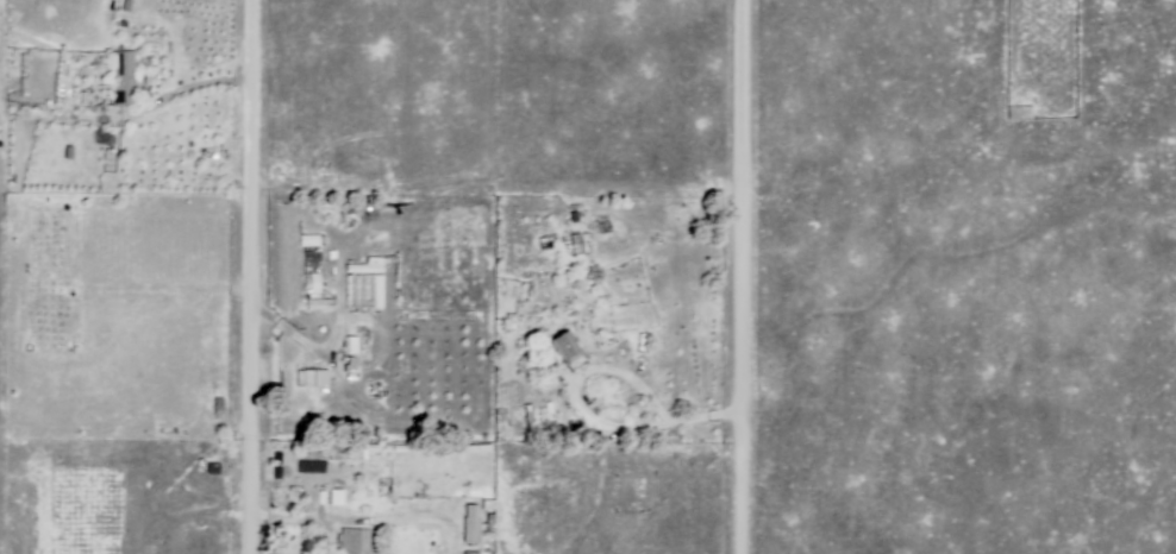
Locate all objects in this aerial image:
building: (23, 64)
building: (124, 82)
building: (23, 88)
road: (184, 90)
building: (311, 240)
crop: (439, 254)
building: (313, 257)
road: (734, 276)
road: (245, 277)
building: (313, 282)
building: (363, 284)
building: (313, 306)
building: (567, 344)
building: (351, 347)
building: (350, 367)
crop: (438, 369)
building: (317, 377)
building: (376, 389)
building: (219, 405)
road: (586, 413)
building: (213, 467)
building: (337, 496)
road: (362, 517)
building: (471, 522)
building: (357, 541)

